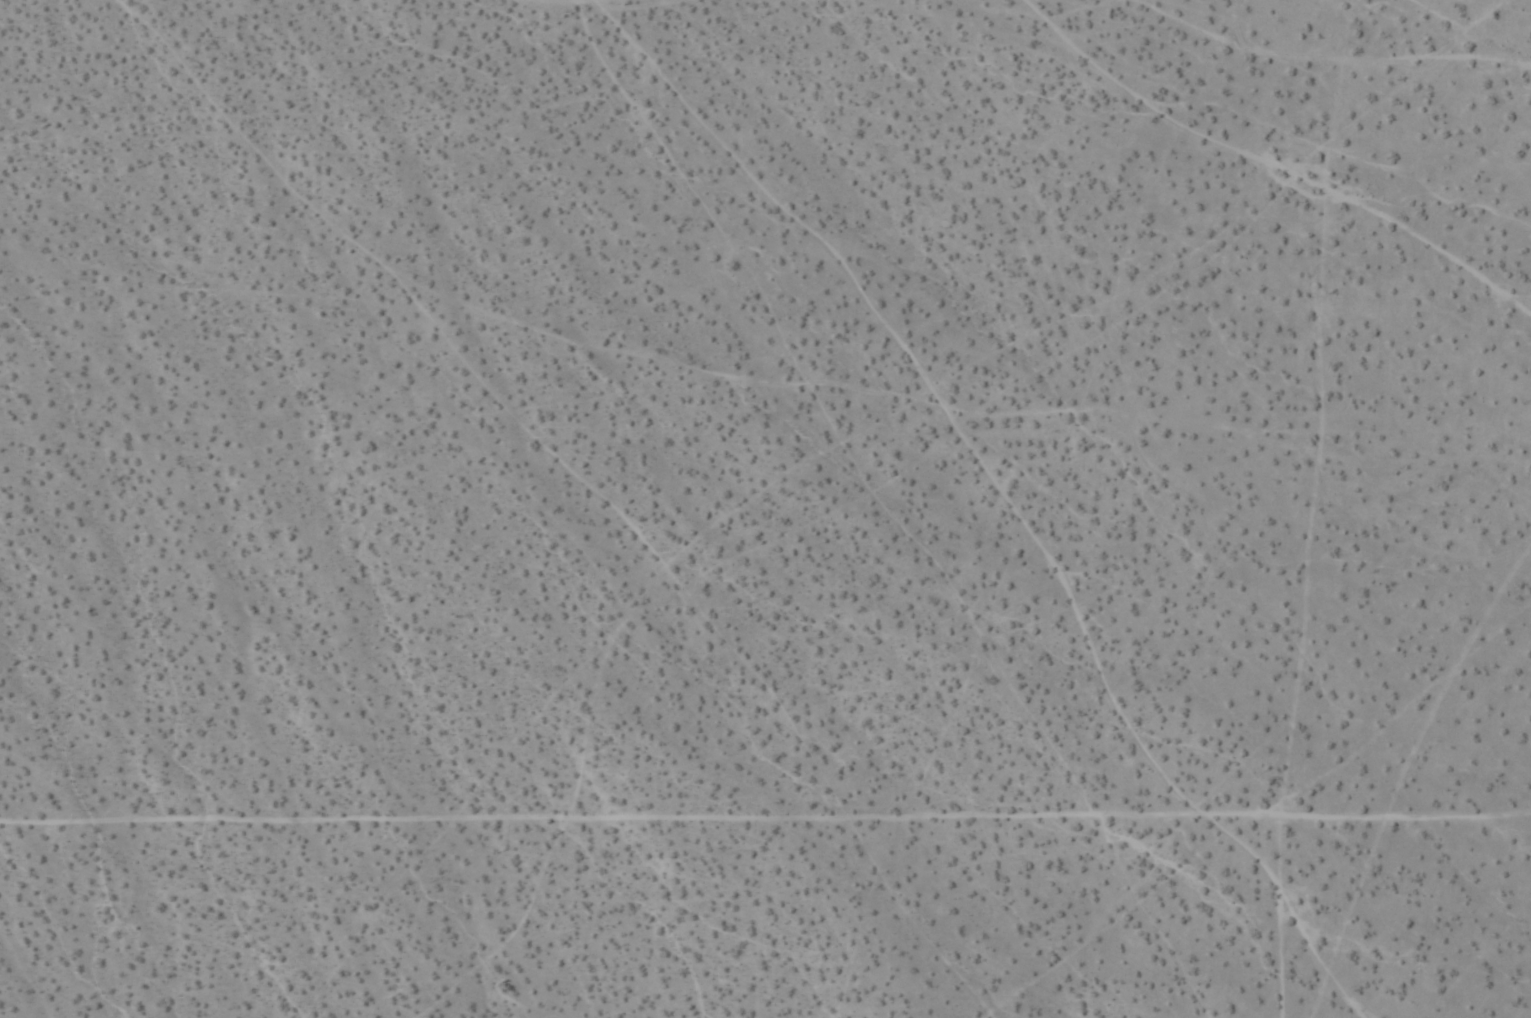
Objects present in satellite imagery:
crop: (765, 509)

